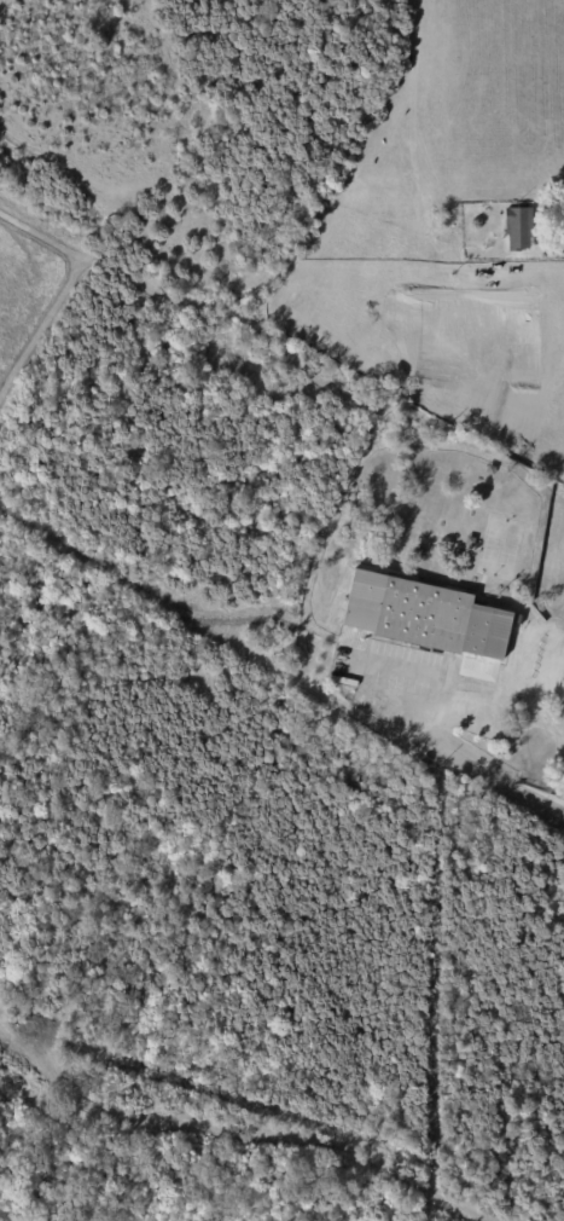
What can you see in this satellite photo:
building: (471, 210)
building: (438, 219)
building: (517, 230)
building: (449, 452)
park: (498, 546)
building: (409, 552)
building: (423, 617)
road: (400, 704)
road: (467, 762)
building: (24, 1009)

